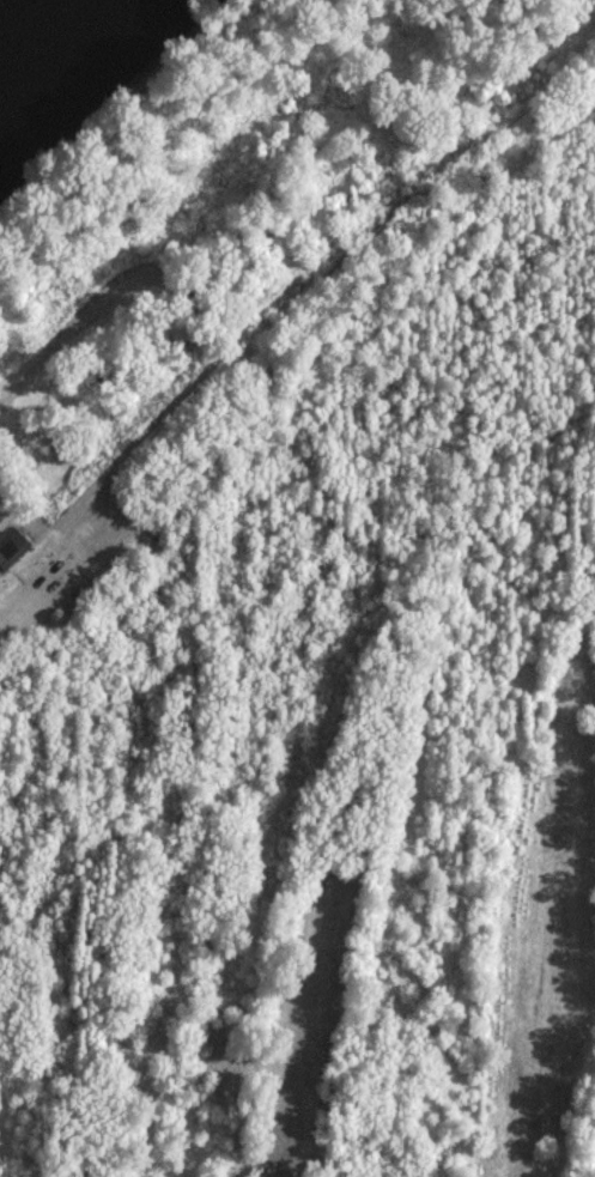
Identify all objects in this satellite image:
river: (31, 28)
road: (18, 612)

